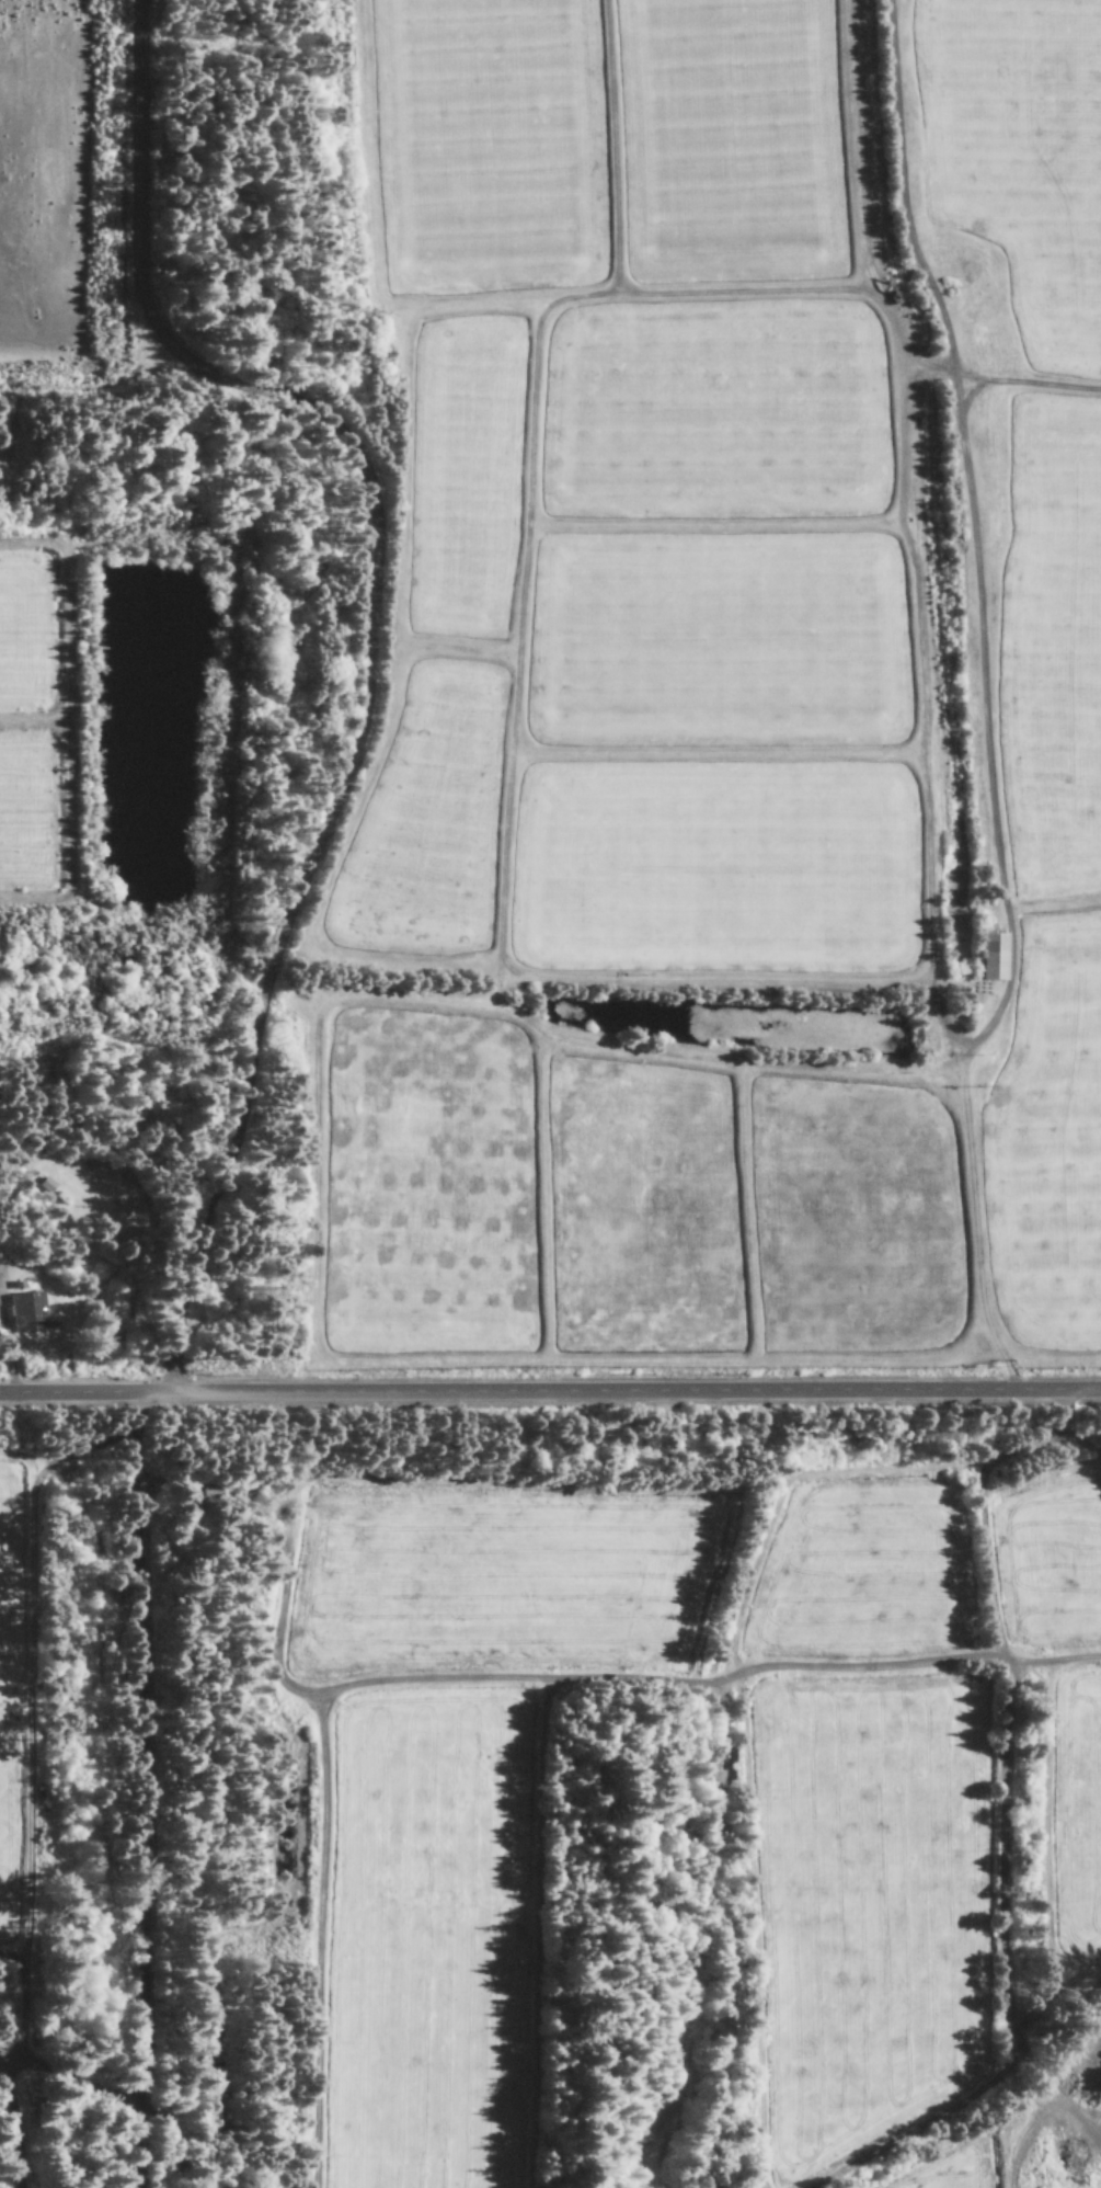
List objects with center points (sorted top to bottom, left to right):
crop: (726, 139)
crop: (484, 144)
crop: (1019, 159)
road: (1025, 385)
crop: (713, 415)
crop: (465, 477)
crop: (24, 636)
road: (368, 642)
crop: (718, 642)
crop: (1051, 651)
road: (982, 698)
crop: (28, 816)
crop: (426, 825)
crop: (715, 868)
building: (989, 958)
crop: (1048, 1140)
crop: (427, 1188)
crop: (639, 1215)
crop: (852, 1220)
building: (24, 1313)
road: (550, 1390)
crop: (1048, 1565)
crop: (9, 1573)
crop: (863, 1574)
crop: (496, 1582)
road: (148, 1789)
crop: (1077, 1813)
crop: (7, 1836)
crop: (867, 1910)
crop: (427, 1941)
crop: (950, 2169)

